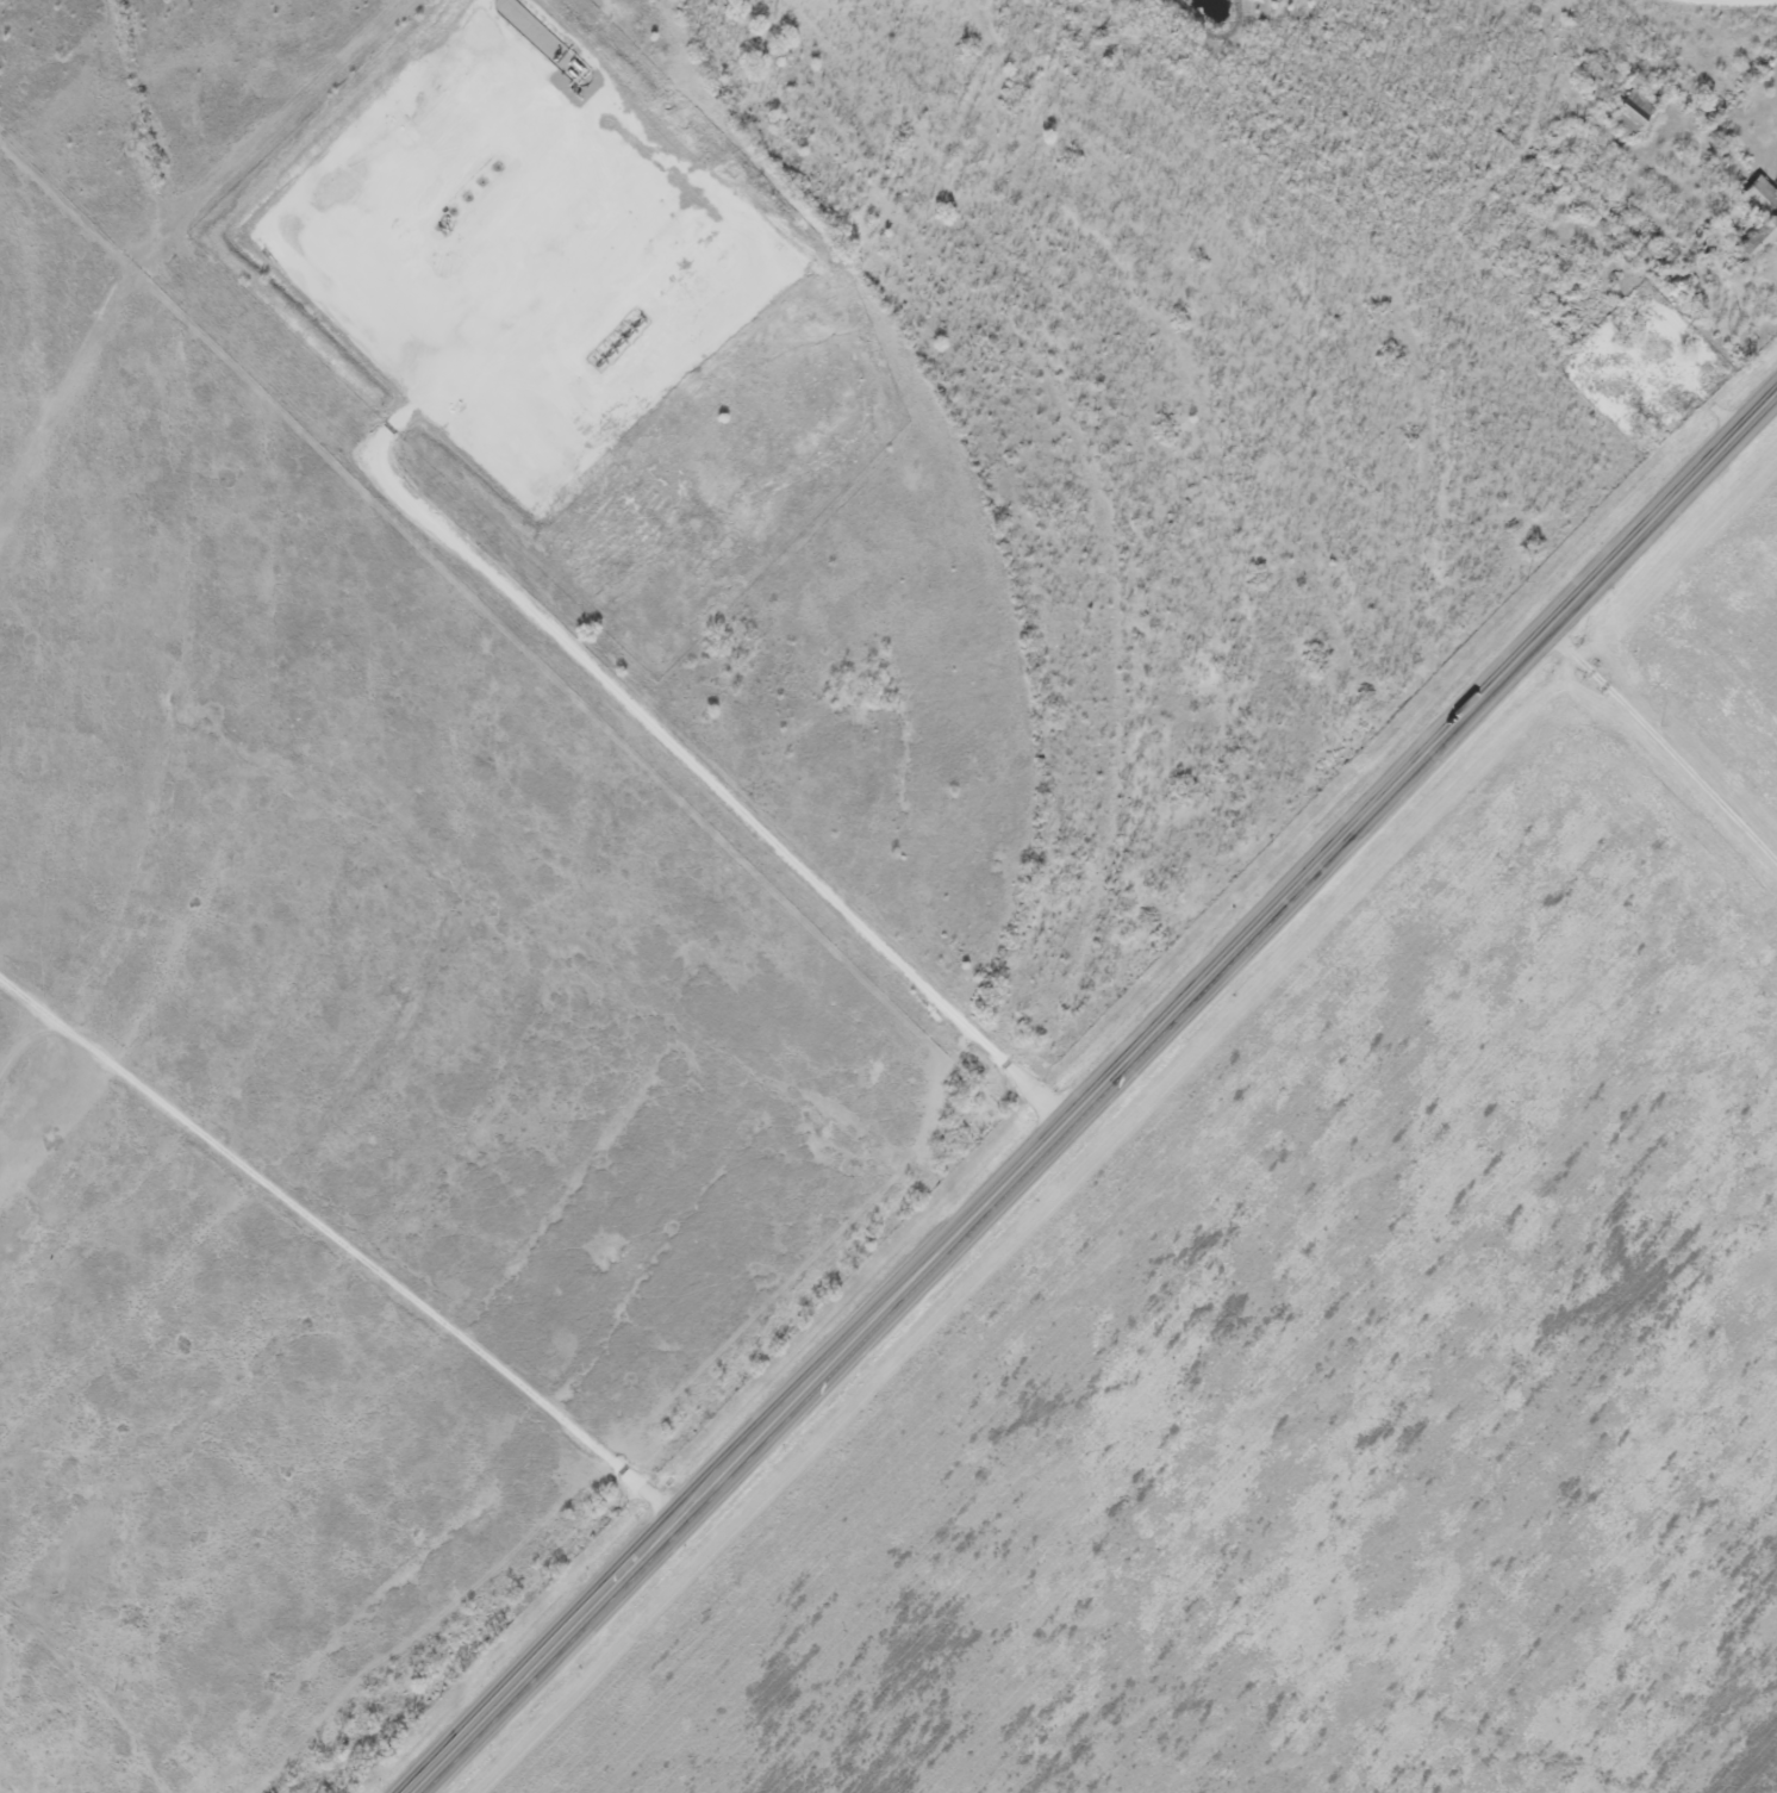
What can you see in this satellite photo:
building: (1622, 119)
building: (1747, 197)
road: (444, 416)
road: (1664, 753)
road: (1098, 1095)

